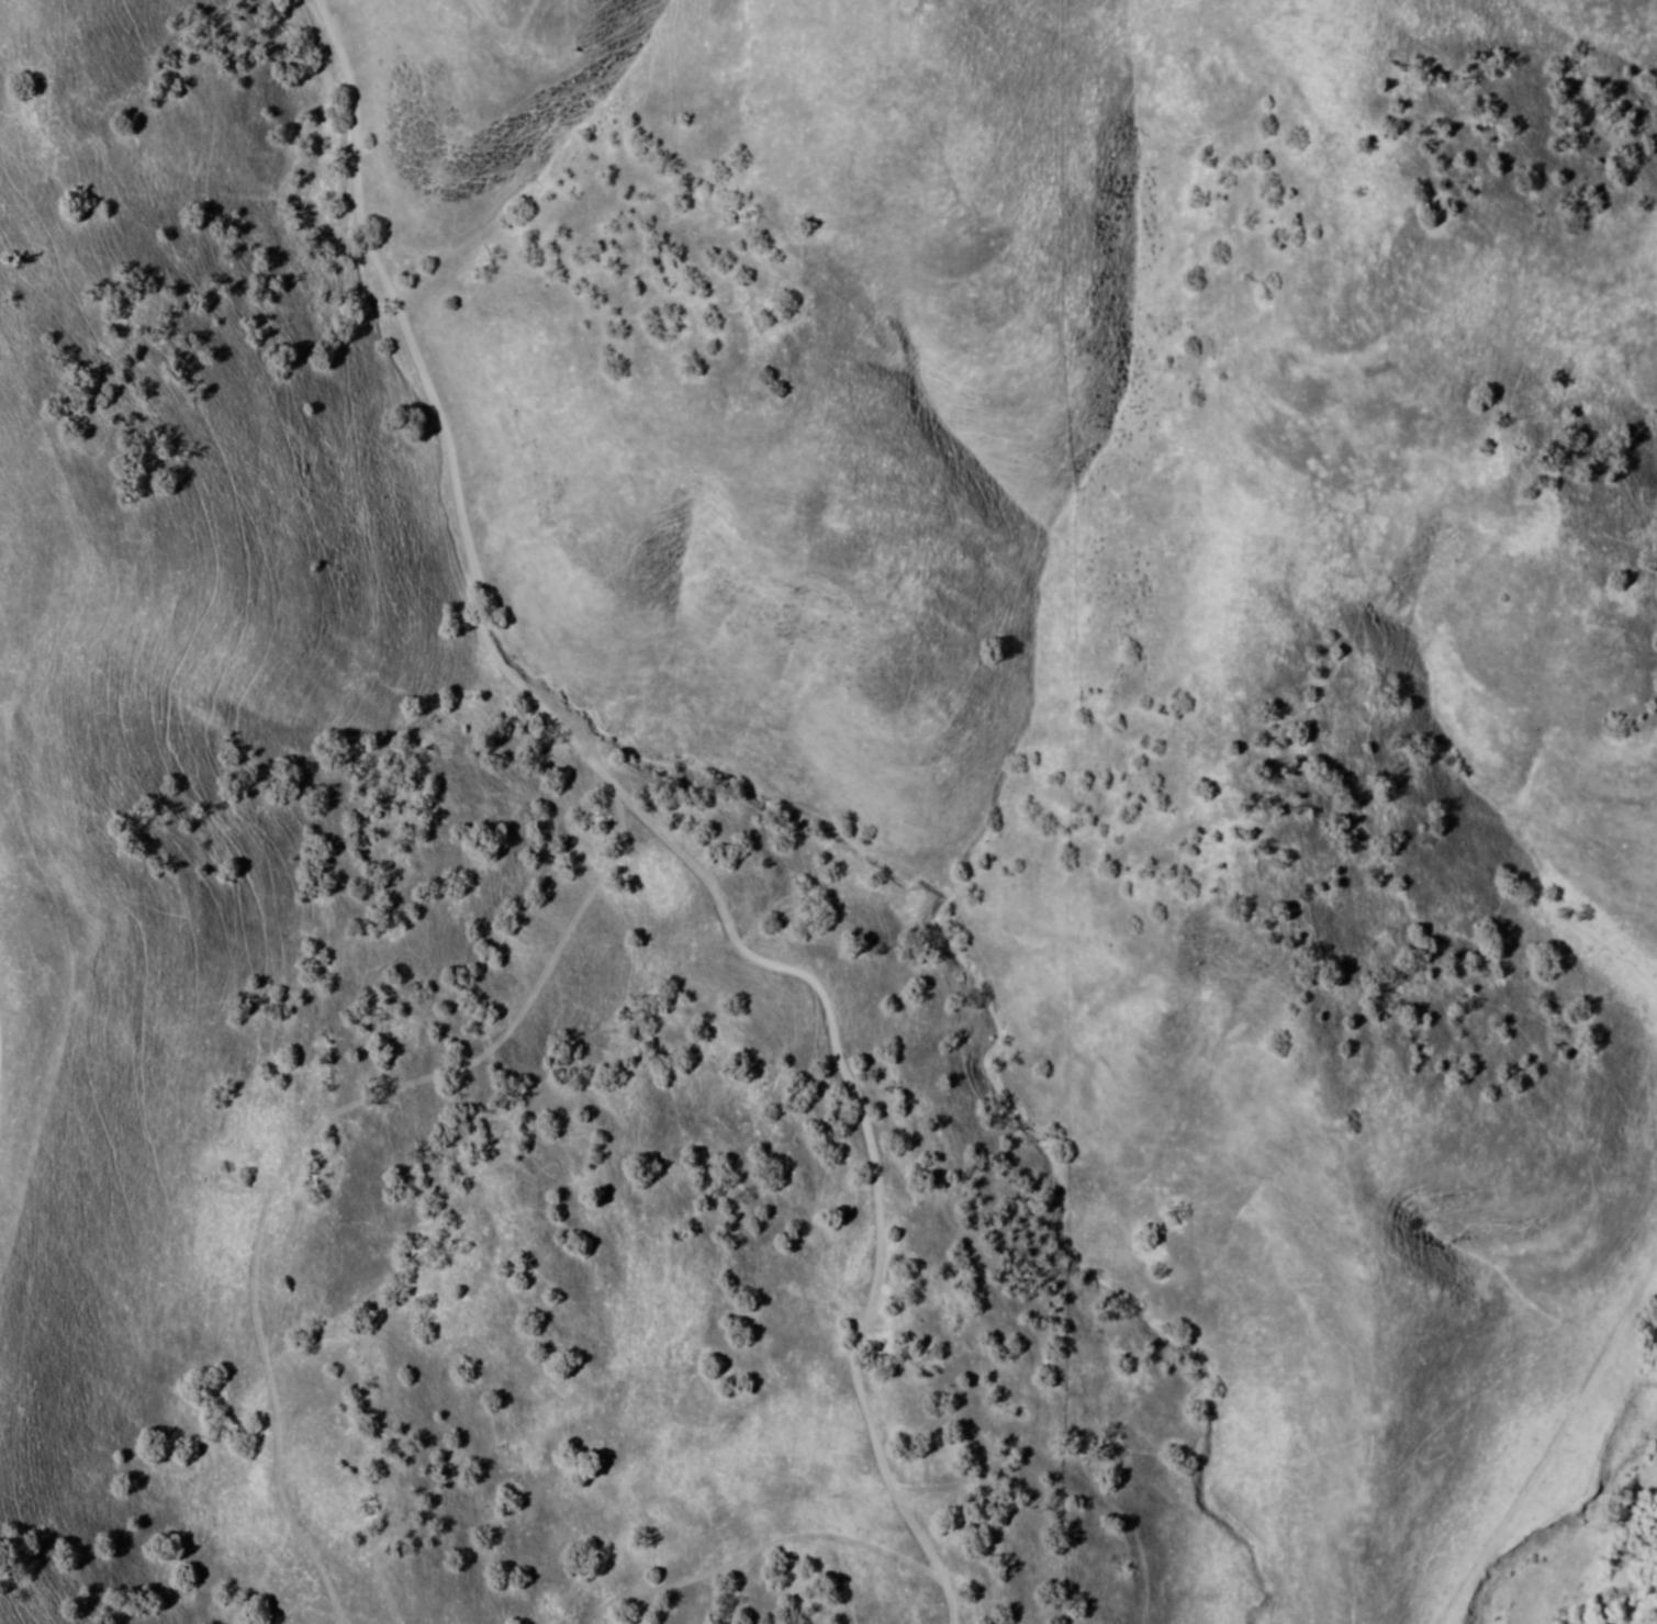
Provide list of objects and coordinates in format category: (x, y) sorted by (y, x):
road: (663, 824)

